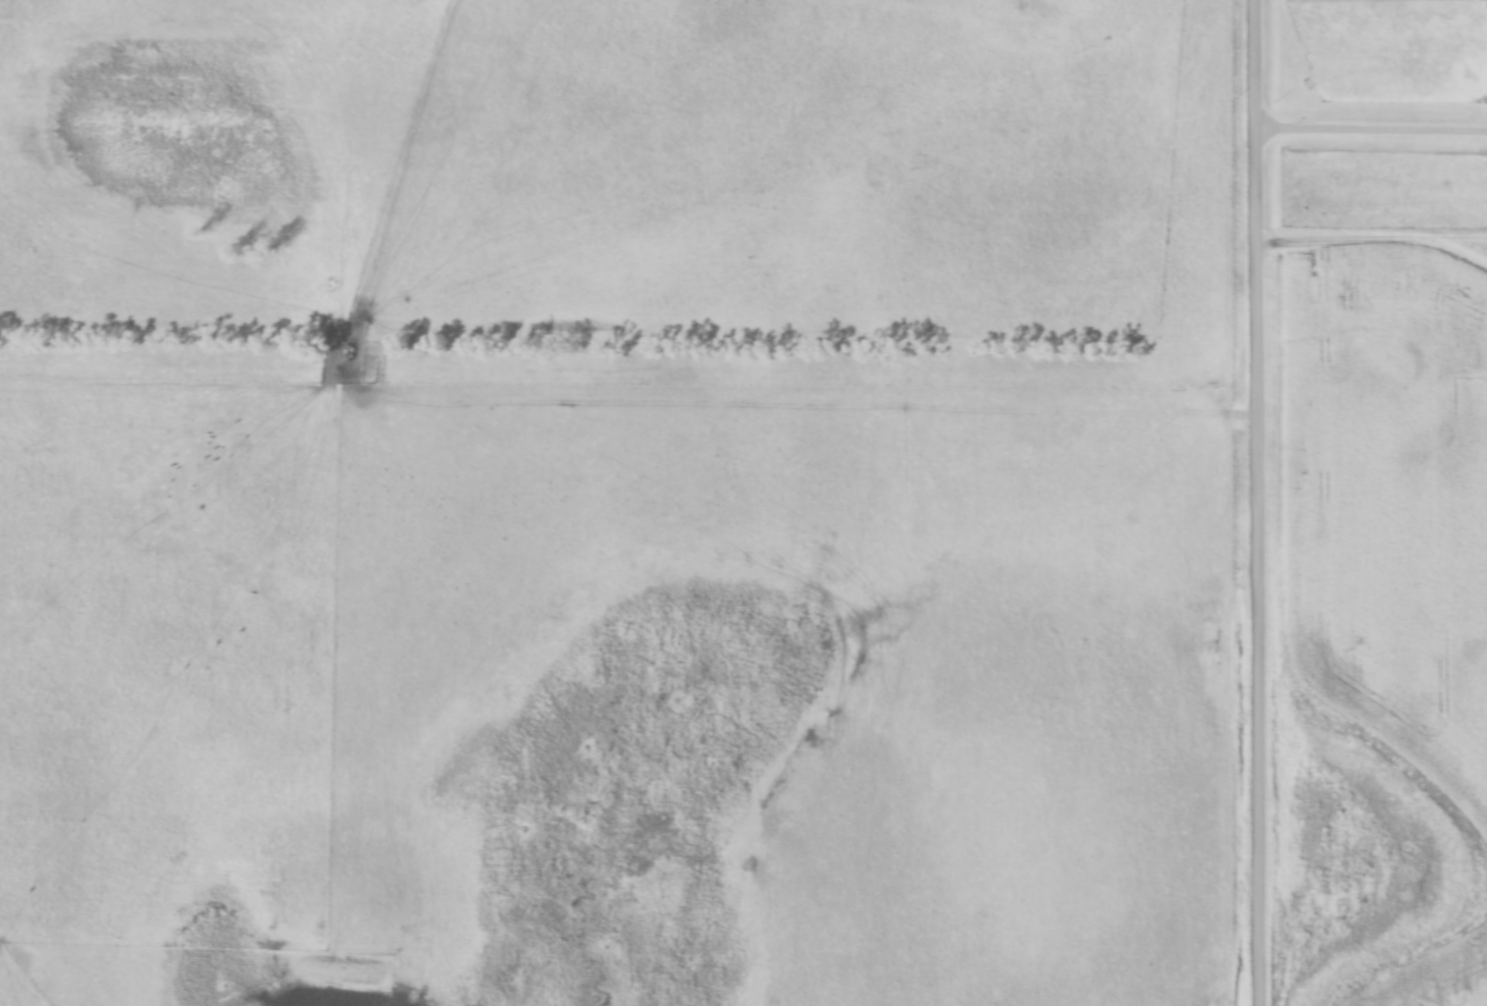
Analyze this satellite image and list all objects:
road: (1375, 128)
road: (1264, 502)

